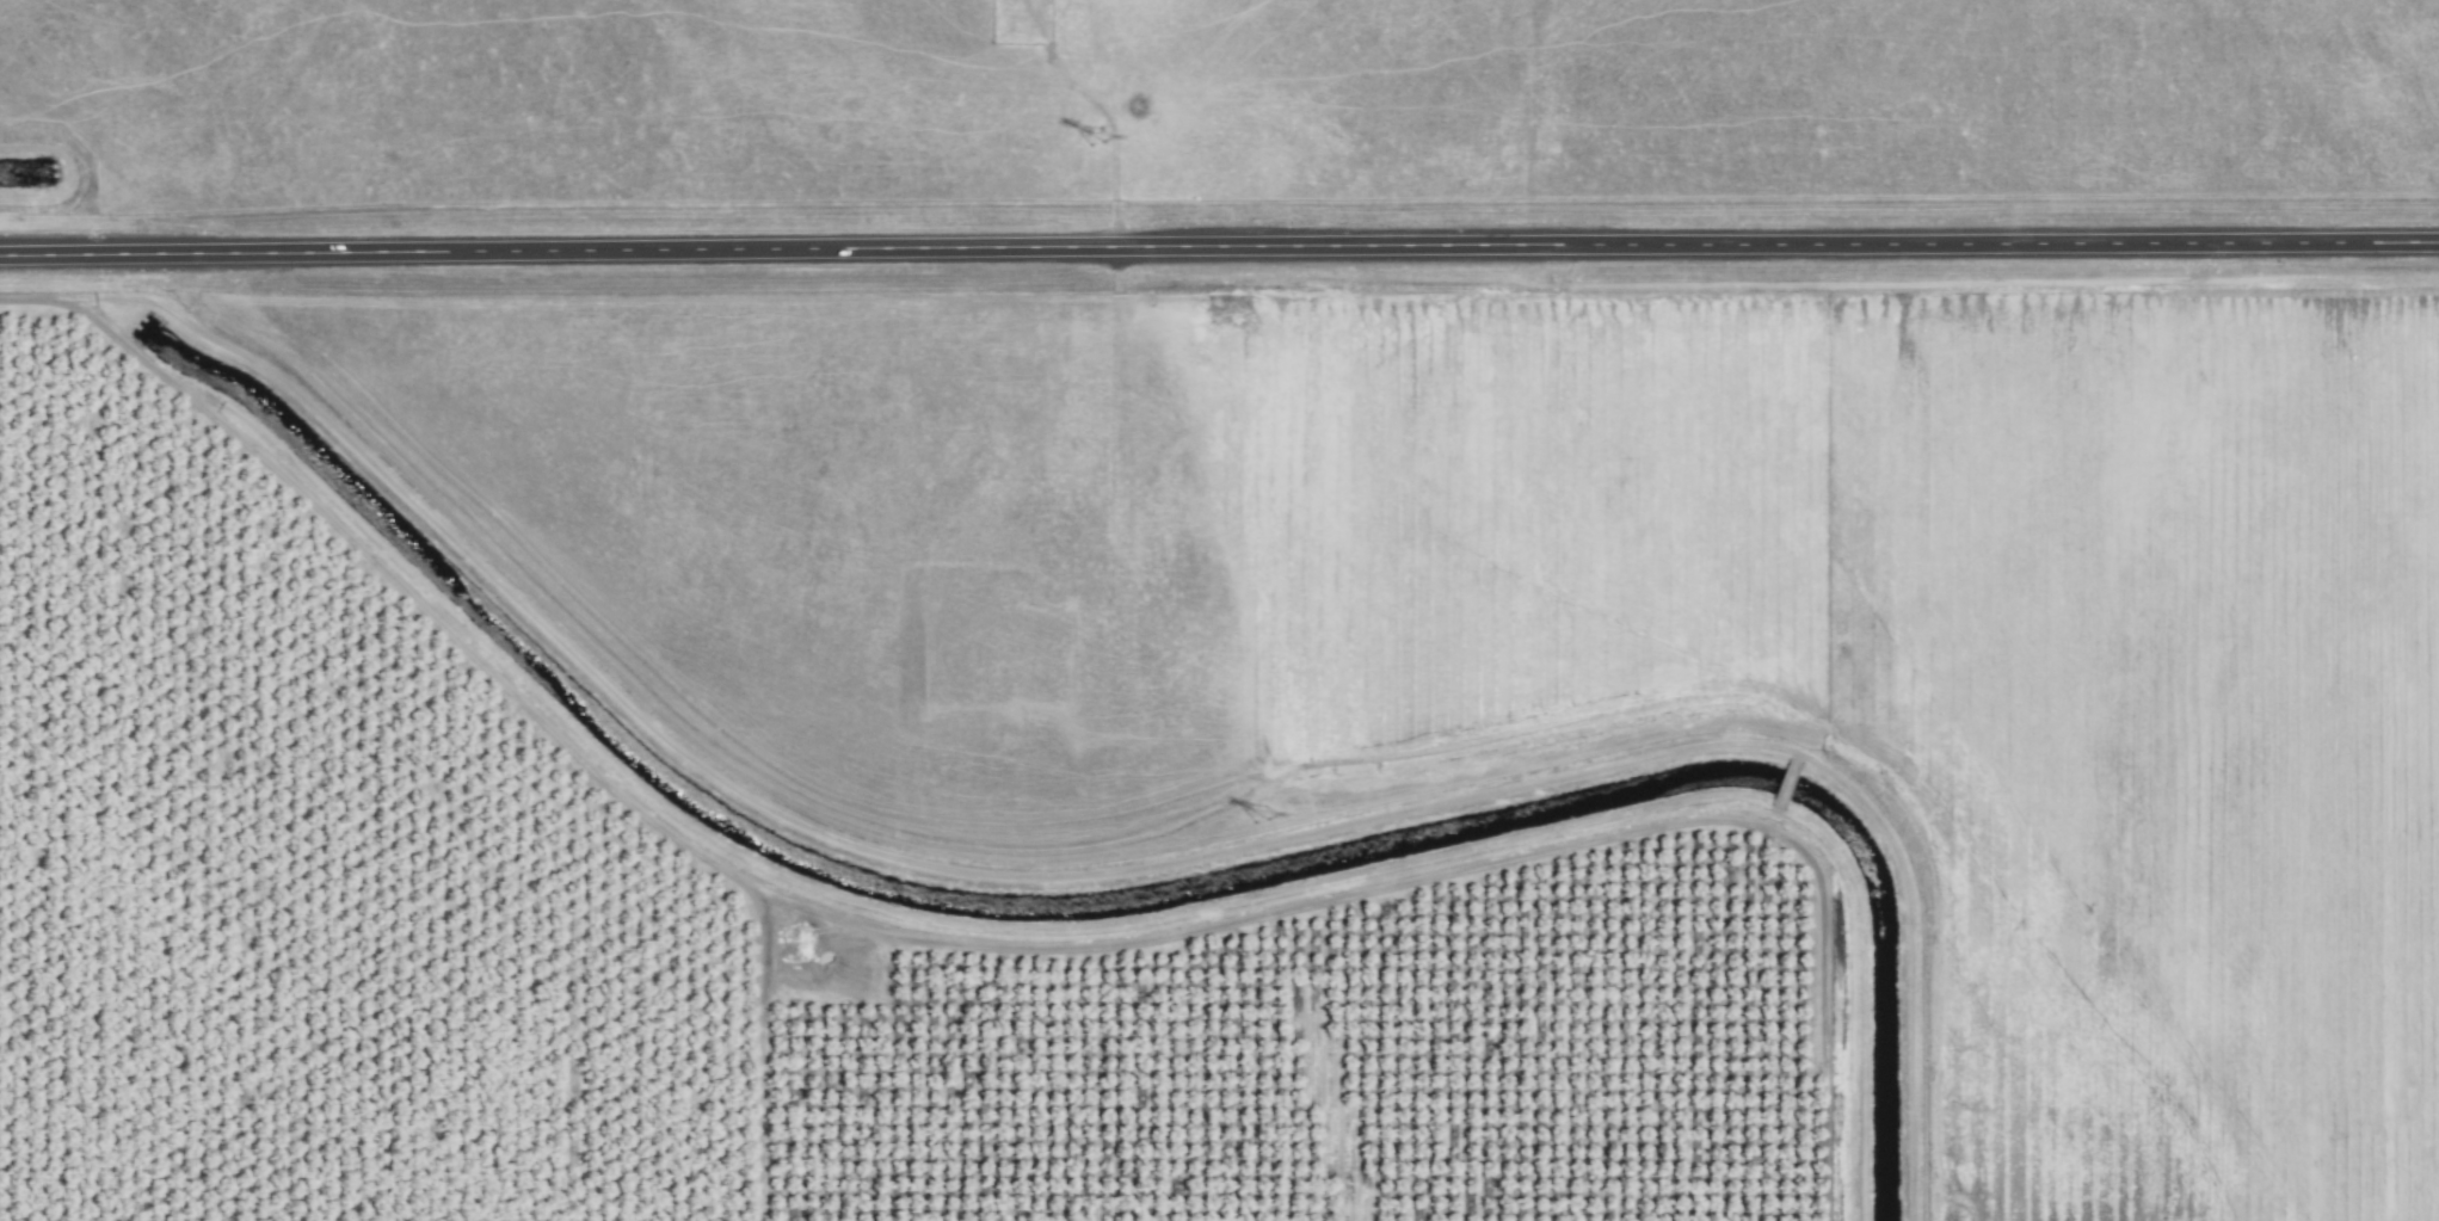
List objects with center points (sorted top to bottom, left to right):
power tower: (1094, 137)
road: (1219, 245)
power tower: (1258, 816)

